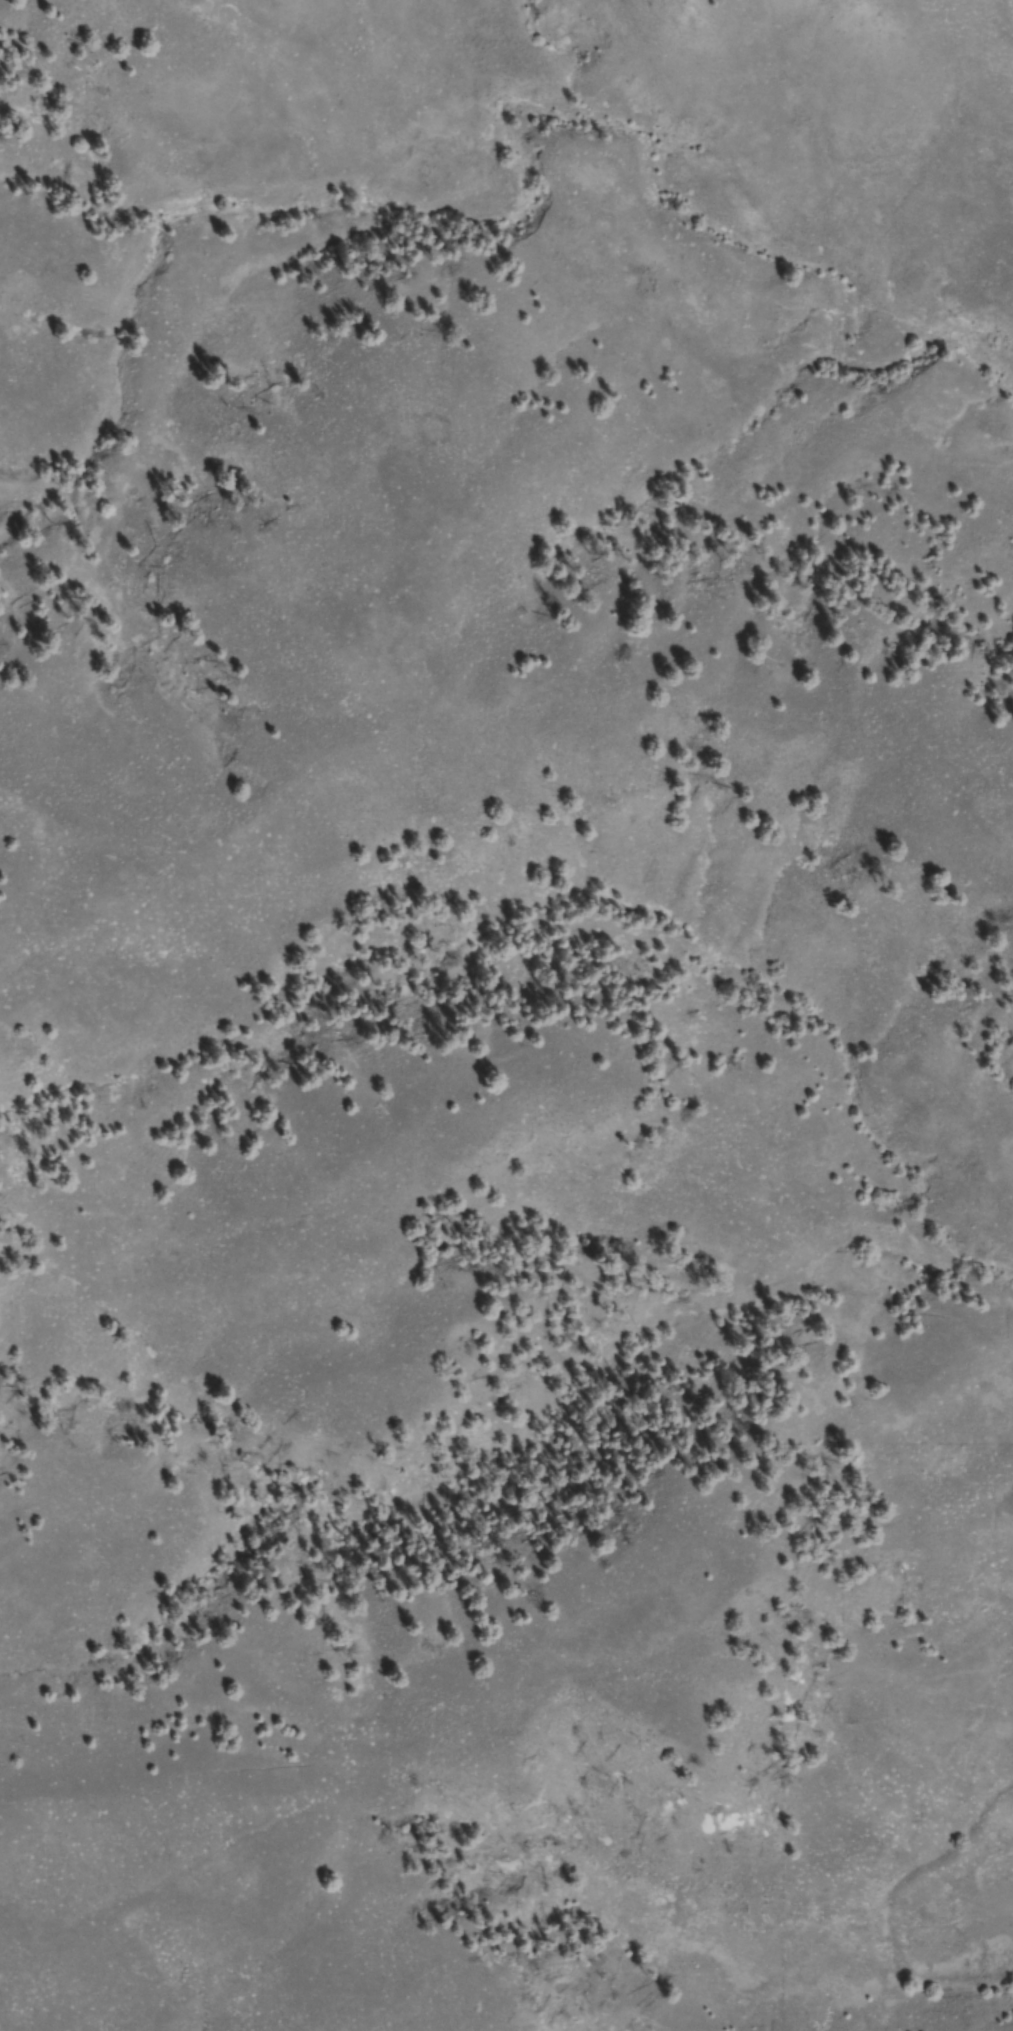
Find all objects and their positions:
park: (914, 1787)

